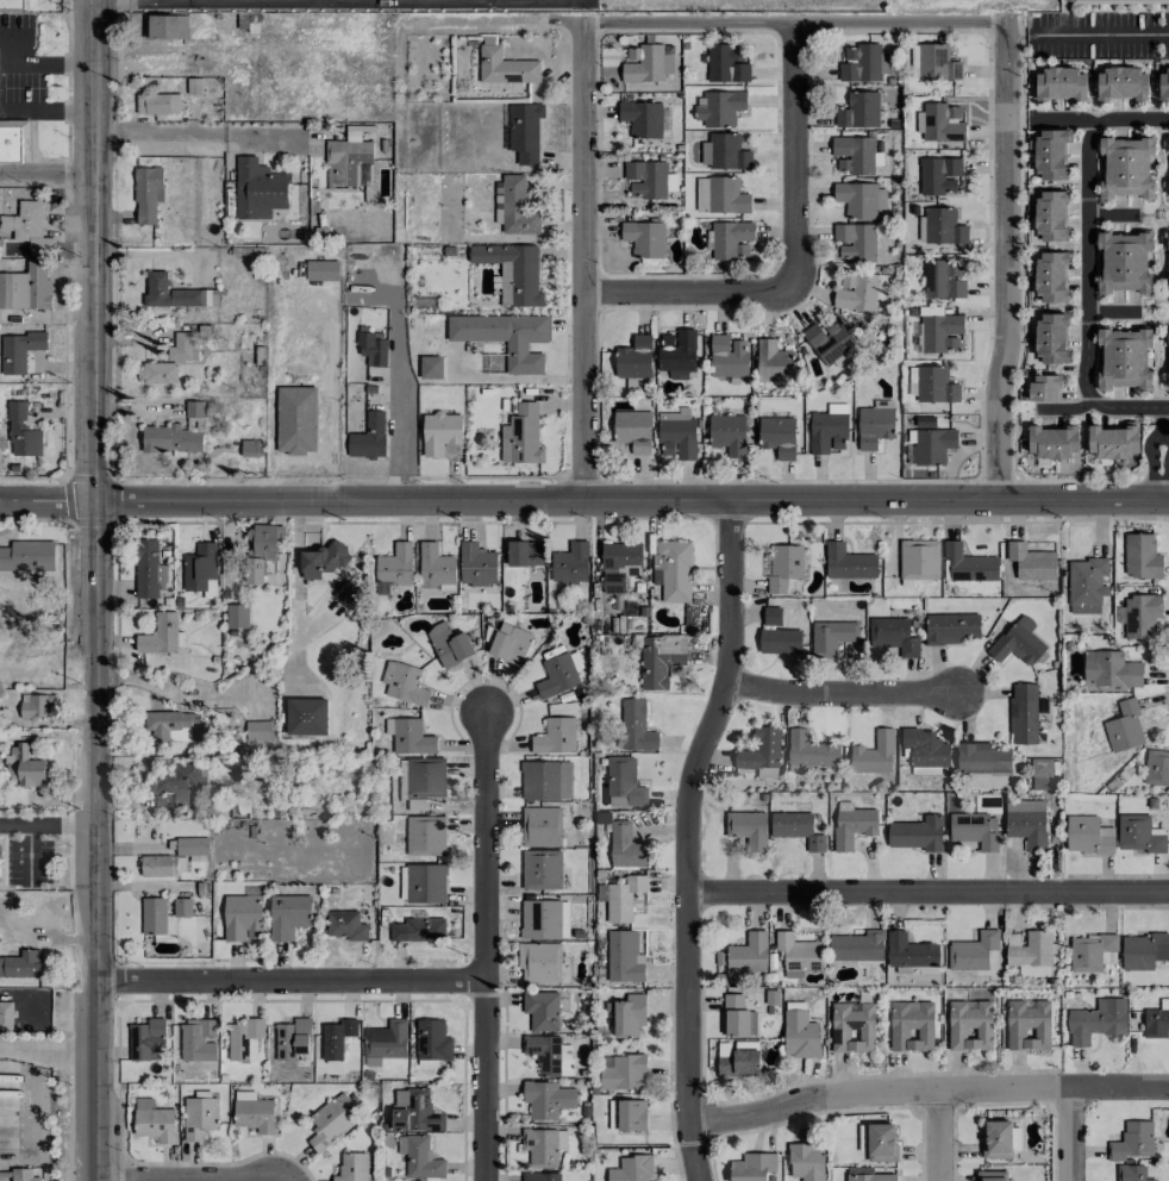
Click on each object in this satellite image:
road: (142, 0)
building: (1117, 0)
building: (11, 5)
road: (794, 24)
building: (165, 26)
road: (1108, 35)
road: (48, 61)
building: (937, 62)
building: (727, 63)
building: (863, 63)
building: (645, 64)
building: (505, 67)
building: (1059, 83)
building: (1121, 83)
building: (1163, 83)
building: (157, 104)
road: (48, 107)
building: (718, 107)
building: (858, 111)
building: (642, 118)
road: (1024, 121)
road: (1069, 121)
building: (940, 123)
building: (525, 131)
road: (199, 136)
building: (12, 139)
building: (724, 151)
building: (854, 155)
road: (794, 156)
building: (349, 161)
building: (1126, 168)
road: (46, 169)
building: (939, 175)
building: (645, 179)
building: (258, 189)
building: (146, 194)
building: (720, 195)
building: (859, 199)
building: (514, 206)
road: (1111, 214)
building: (1051, 215)
building: (29, 226)
building: (943, 226)
building: (644, 238)
building: (731, 239)
building: (1168, 239)
building: (855, 242)
road: (93, 251)
road: (1006, 261)
road: (1087, 262)
building: (1124, 262)
road: (583, 263)
building: (321, 270)
building: (513, 271)
building: (1051, 276)
building: (943, 280)
building: (1168, 283)
building: (26, 287)
road: (689, 288)
building: (859, 292)
building: (175, 293)
road: (1111, 311)
building: (940, 332)
building: (1168, 336)
building: (505, 337)
building: (1051, 338)
building: (829, 342)
building: (182, 348)
building: (373, 348)
building: (18, 350)
building: (676, 352)
building: (729, 356)
building: (634, 357)
building: (1124, 357)
building: (774, 362)
building: (430, 367)
building: (158, 373)
building: (1168, 380)
building: (912, 381)
building: (934, 386)
building: (1044, 388)
building: (194, 408)
road: (1165, 410)
road: (1065, 411)
road: (401, 419)
building: (296, 420)
building: (874, 426)
building: (827, 429)
building: (633, 430)
building: (21, 432)
building: (439, 432)
building: (727, 433)
building: (676, 435)
building: (521, 436)
building: (777, 436)
building: (368, 437)
building: (170, 438)
building: (1052, 440)
building: (1112, 442)
building: (933, 445)
road: (1164, 454)
road: (583, 499)
building: (525, 554)
building: (25, 556)
building: (1142, 556)
building: (321, 560)
building: (919, 560)
building: (848, 562)
building: (1031, 562)
building: (570, 563)
building: (969, 563)
building: (476, 564)
building: (619, 564)
building: (199, 565)
building: (395, 565)
building: (784, 565)
building: (435, 567)
building: (149, 569)
building: (674, 569)
building: (1086, 585)
building: (348, 594)
building: (238, 616)
building: (771, 616)
building: (1142, 616)
building: (951, 629)
building: (160, 635)
building: (831, 636)
building: (893, 636)
building: (780, 641)
building: (1018, 642)
building: (510, 643)
building: (449, 644)
building: (659, 658)
building: (1111, 669)
building: (557, 675)
building: (404, 683)
road: (842, 695)
building: (36, 706)
building: (1023, 713)
building: (306, 717)
building: (168, 725)
building: (636, 726)
building: (1124, 727)
building: (258, 730)
building: (410, 737)
building: (555, 737)
building: (925, 748)
building: (761, 750)
building: (808, 751)
building: (874, 754)
building: (982, 758)
building: (25, 767)
building: (1156, 767)
building: (1040, 768)
building: (765, 773)
building: (421, 777)
building: (545, 780)
building: (182, 781)
building: (624, 782)
road: (48, 823)
building: (1026, 823)
building: (852, 824)
building: (542, 826)
building: (748, 829)
building: (796, 829)
building: (975, 830)
building: (917, 833)
building: (1138, 833)
building: (425, 835)
road: (686, 836)
building: (1088, 836)
road: (95, 842)
building: (192, 845)
building: (626, 846)
building: (157, 866)
building: (540, 869)
building: (425, 883)
road: (927, 894)
building: (624, 898)
building: (181, 907)
building: (152, 916)
building: (288, 916)
building: (242, 917)
building: (544, 919)
building: (345, 925)
building: (418, 930)
road: (483, 944)
building: (857, 946)
building: (1029, 948)
building: (1144, 950)
building: (799, 951)
building: (909, 951)
building: (748, 952)
building: (975, 952)
building: (1092, 952)
building: (624, 956)
building: (539, 962)
building: (21, 964)
building: (1033, 970)
road: (289, 982)
building: (542, 1010)
building: (5, 1016)
building: (629, 1016)
building: (737, 1017)
building: (1096, 1020)
building: (1157, 1020)
building: (970, 1025)
building: (1029, 1025)
building: (852, 1026)
building: (911, 1026)
building: (800, 1035)
building: (244, 1038)
building: (336, 1038)
building: (146, 1039)
building: (287, 1039)
building: (198, 1041)
building: (432, 1041)
building: (386, 1043)
road: (48, 1049)
building: (549, 1055)
building: (738, 1063)
building: (624, 1073)
road: (1119, 1089)
road: (877, 1095)
building: (546, 1099)
building: (414, 1111)
building: (255, 1114)
building: (627, 1114)
building: (199, 1117)
building: (154, 1121)
building: (330, 1121)
road: (1070, 1135)
road: (938, 1136)
building: (996, 1139)
building: (1132, 1141)
building: (879, 1142)
building: (543, 1145)
building: (419, 1157)
building: (806, 1161)
building: (352, 1167)
building: (752, 1167)
building: (632, 1169)
building: (1131, 1173)
building: (25, 1175)
building: (992, 1175)
building: (540, 1176)
building: (871, 1177)

